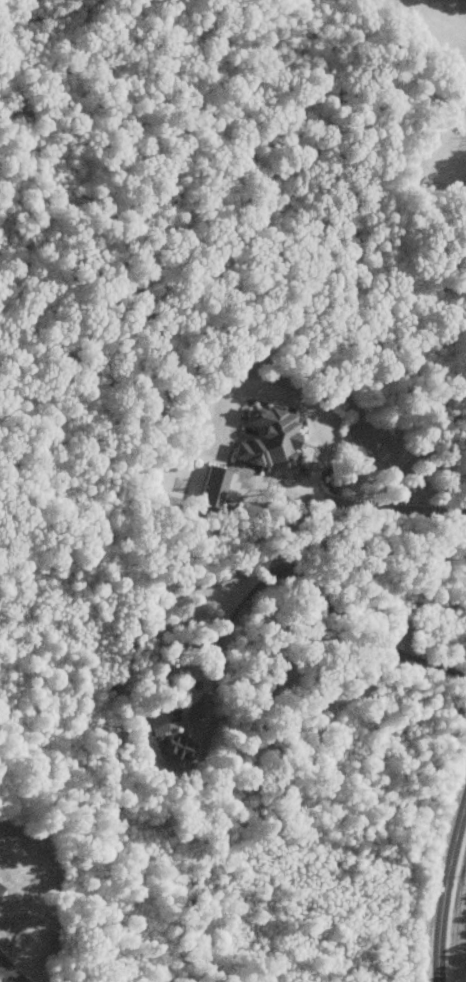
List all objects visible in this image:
building: (265, 441)
building: (211, 486)
road: (381, 507)
road: (305, 579)
building: (150, 725)
building: (174, 747)
road: (444, 892)
road: (11, 972)

